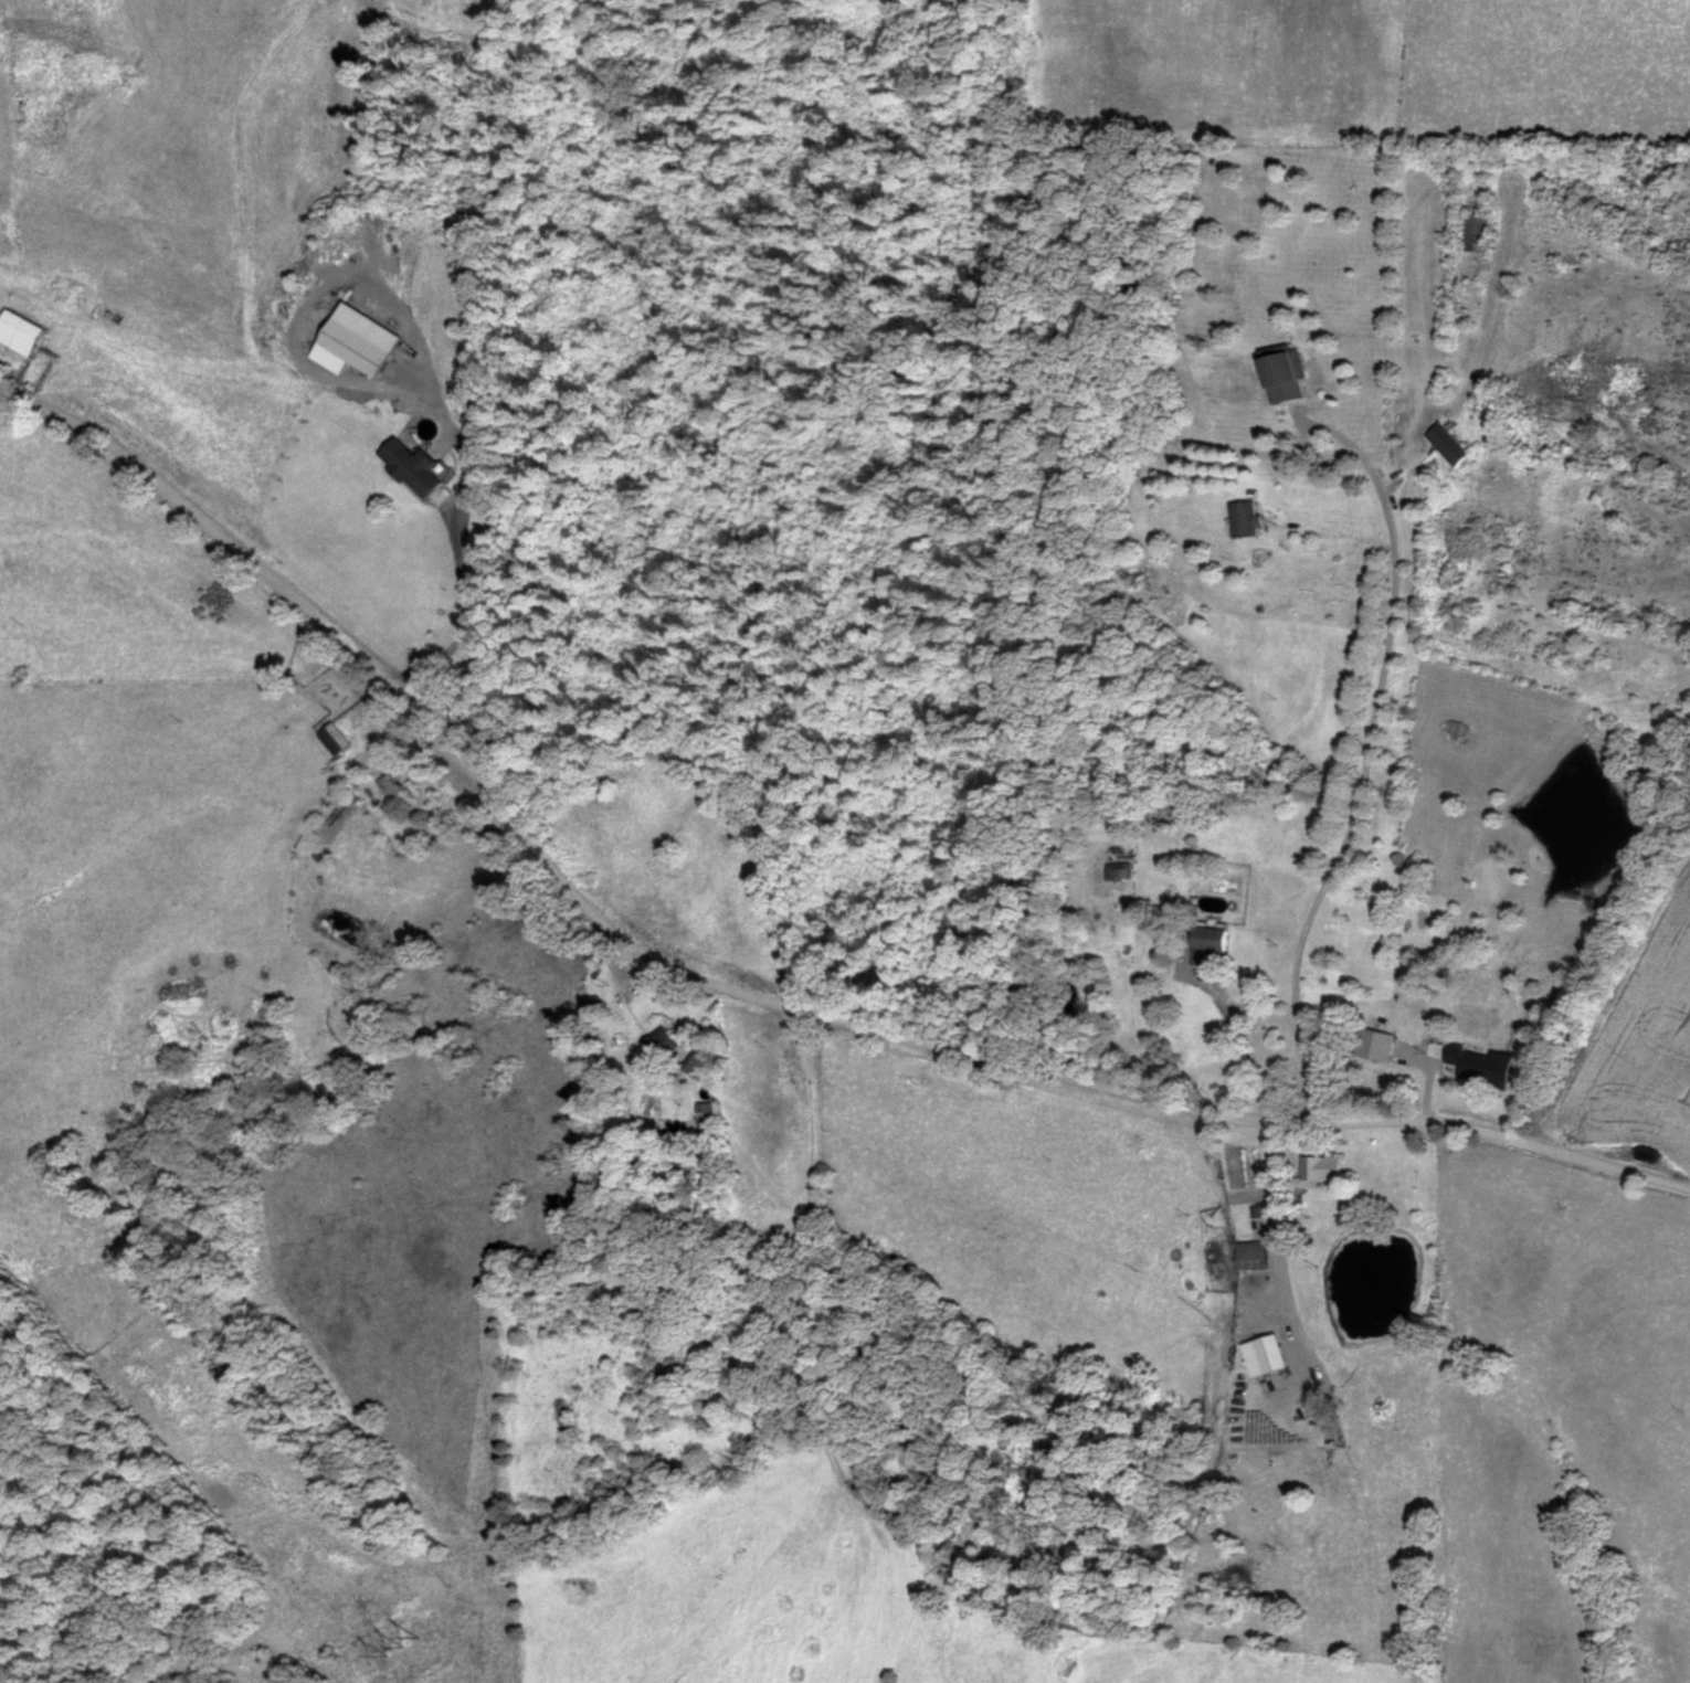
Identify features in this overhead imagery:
building: (1476, 231)
building: (18, 331)
building: (359, 339)
building: (1282, 372)
building: (1446, 443)
building: (412, 466)
building: (1245, 518)
building: (335, 739)
road: (1365, 756)
building: (394, 784)
building: (1206, 942)
road: (740, 988)
building: (1376, 1041)
building: (659, 1045)
building: (1481, 1063)
building: (707, 1111)
building: (1320, 1168)
building: (1251, 1253)
building: (1264, 1354)
power tower: (400, 1645)

